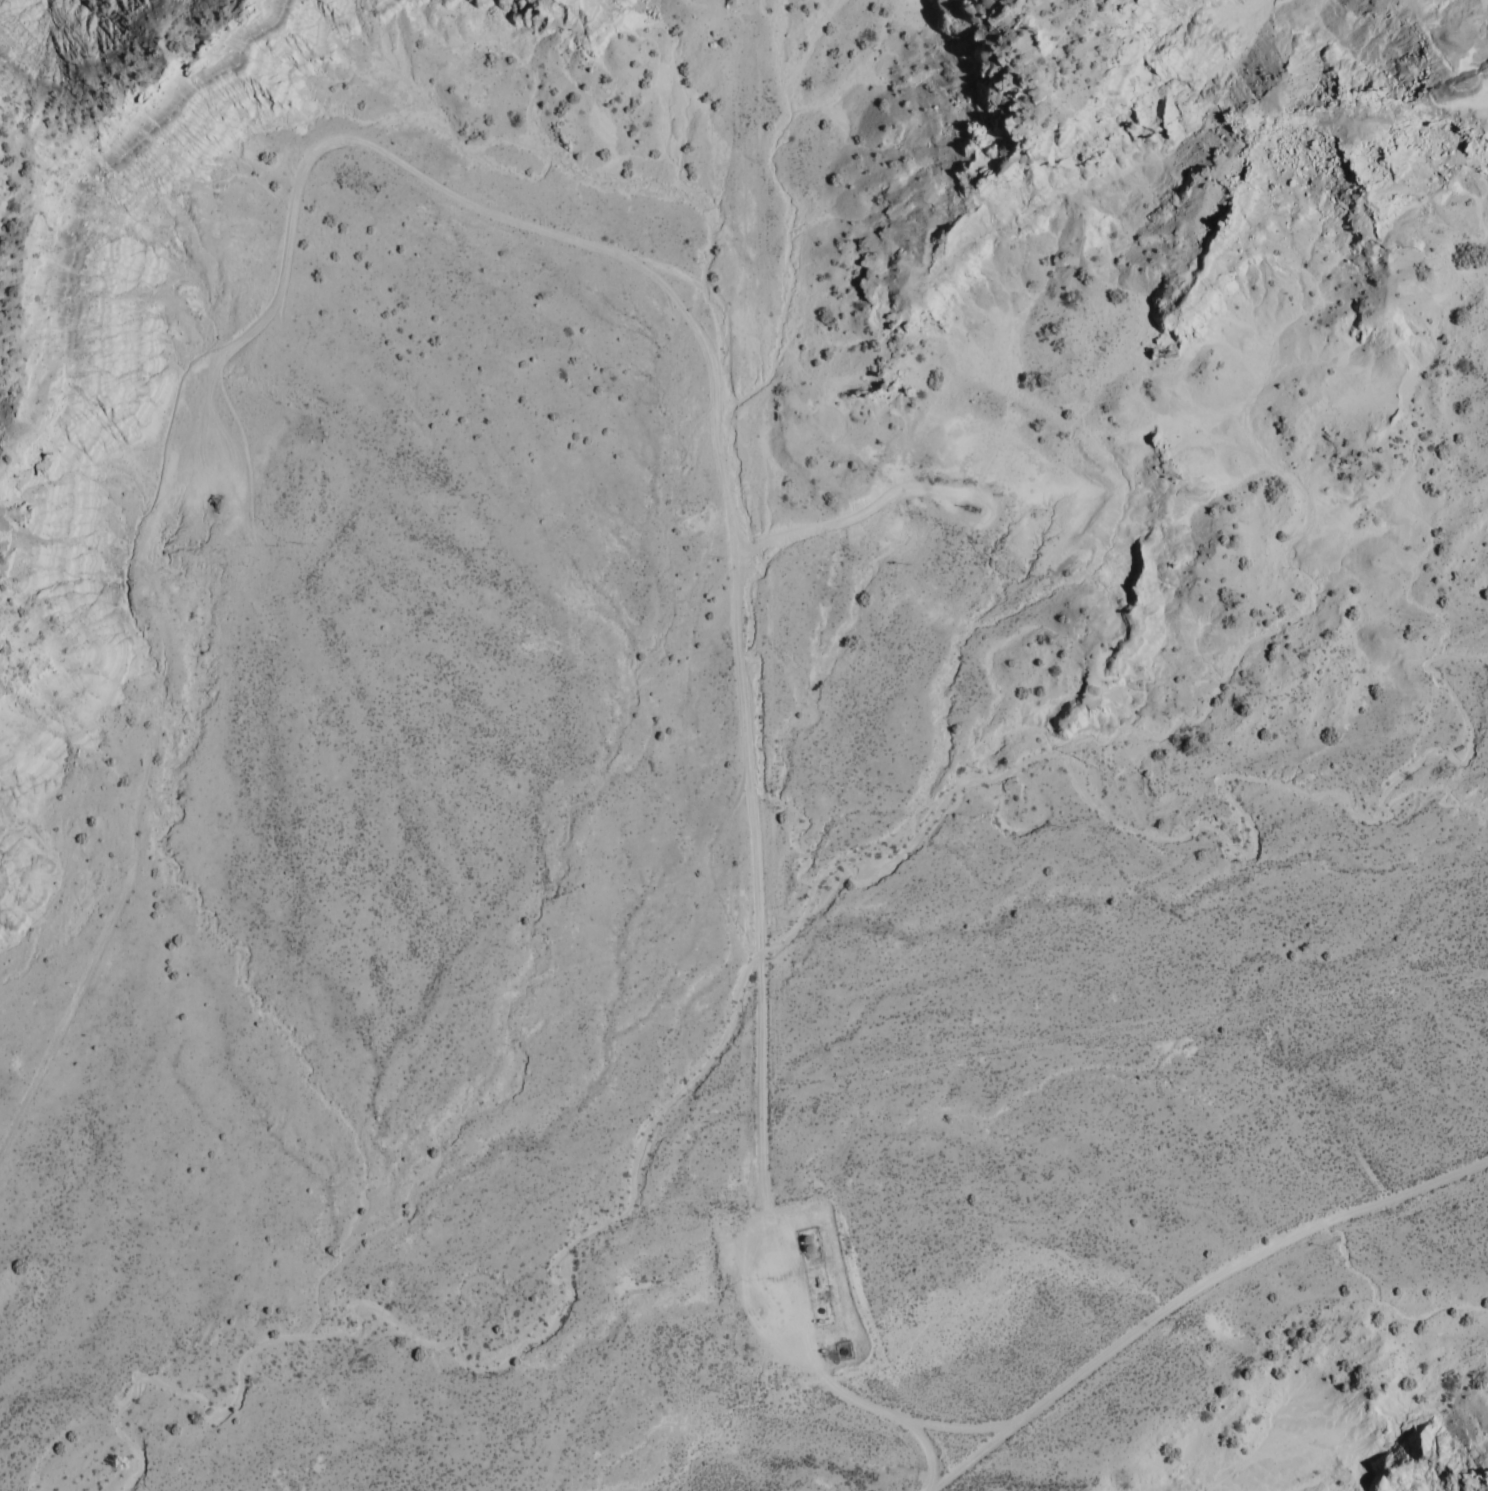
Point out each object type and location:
road: (1190, 1296)

